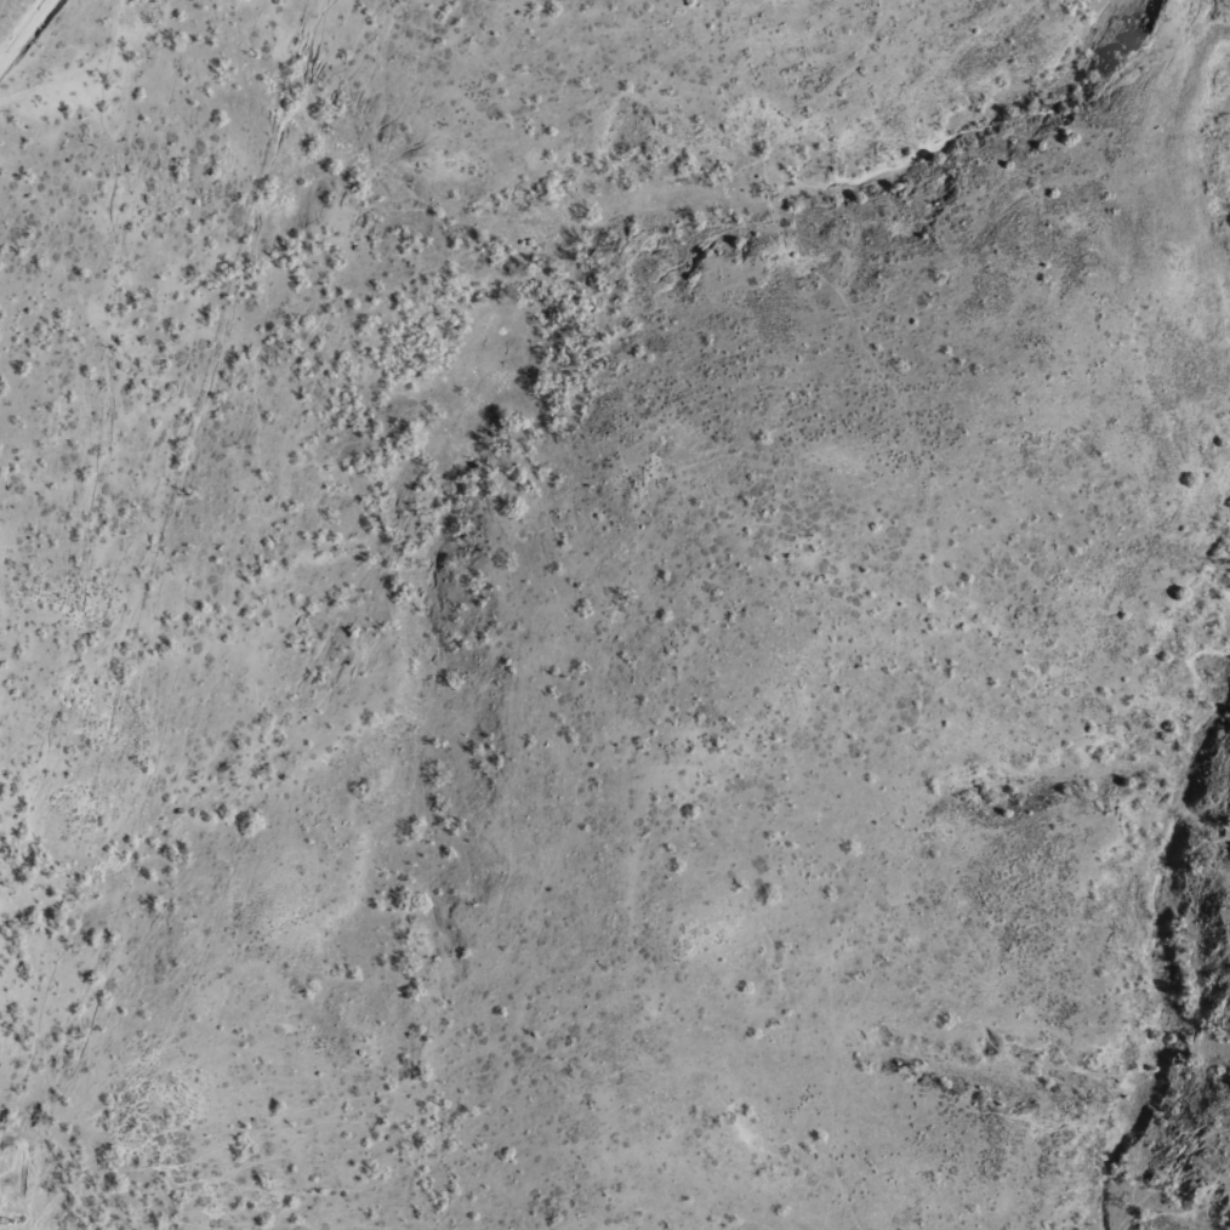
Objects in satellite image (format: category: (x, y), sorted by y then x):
road: (17, 25)

